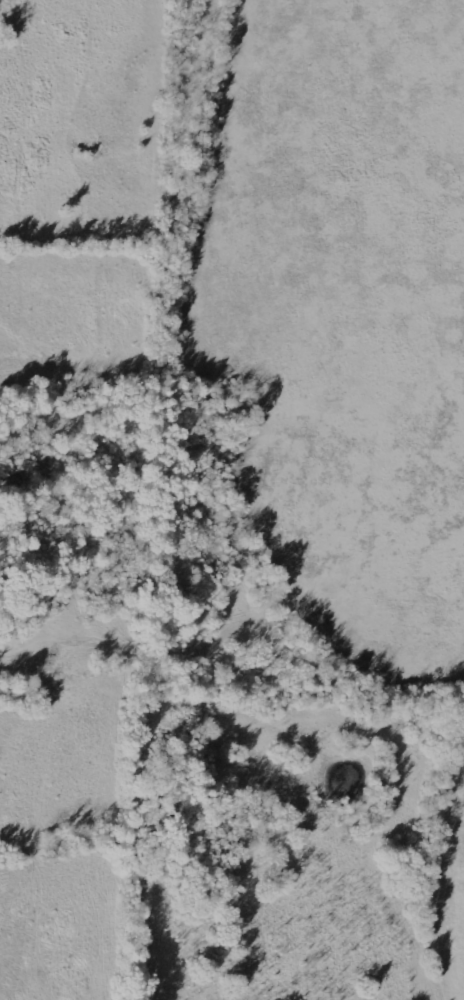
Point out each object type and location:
road: (332, 690)

